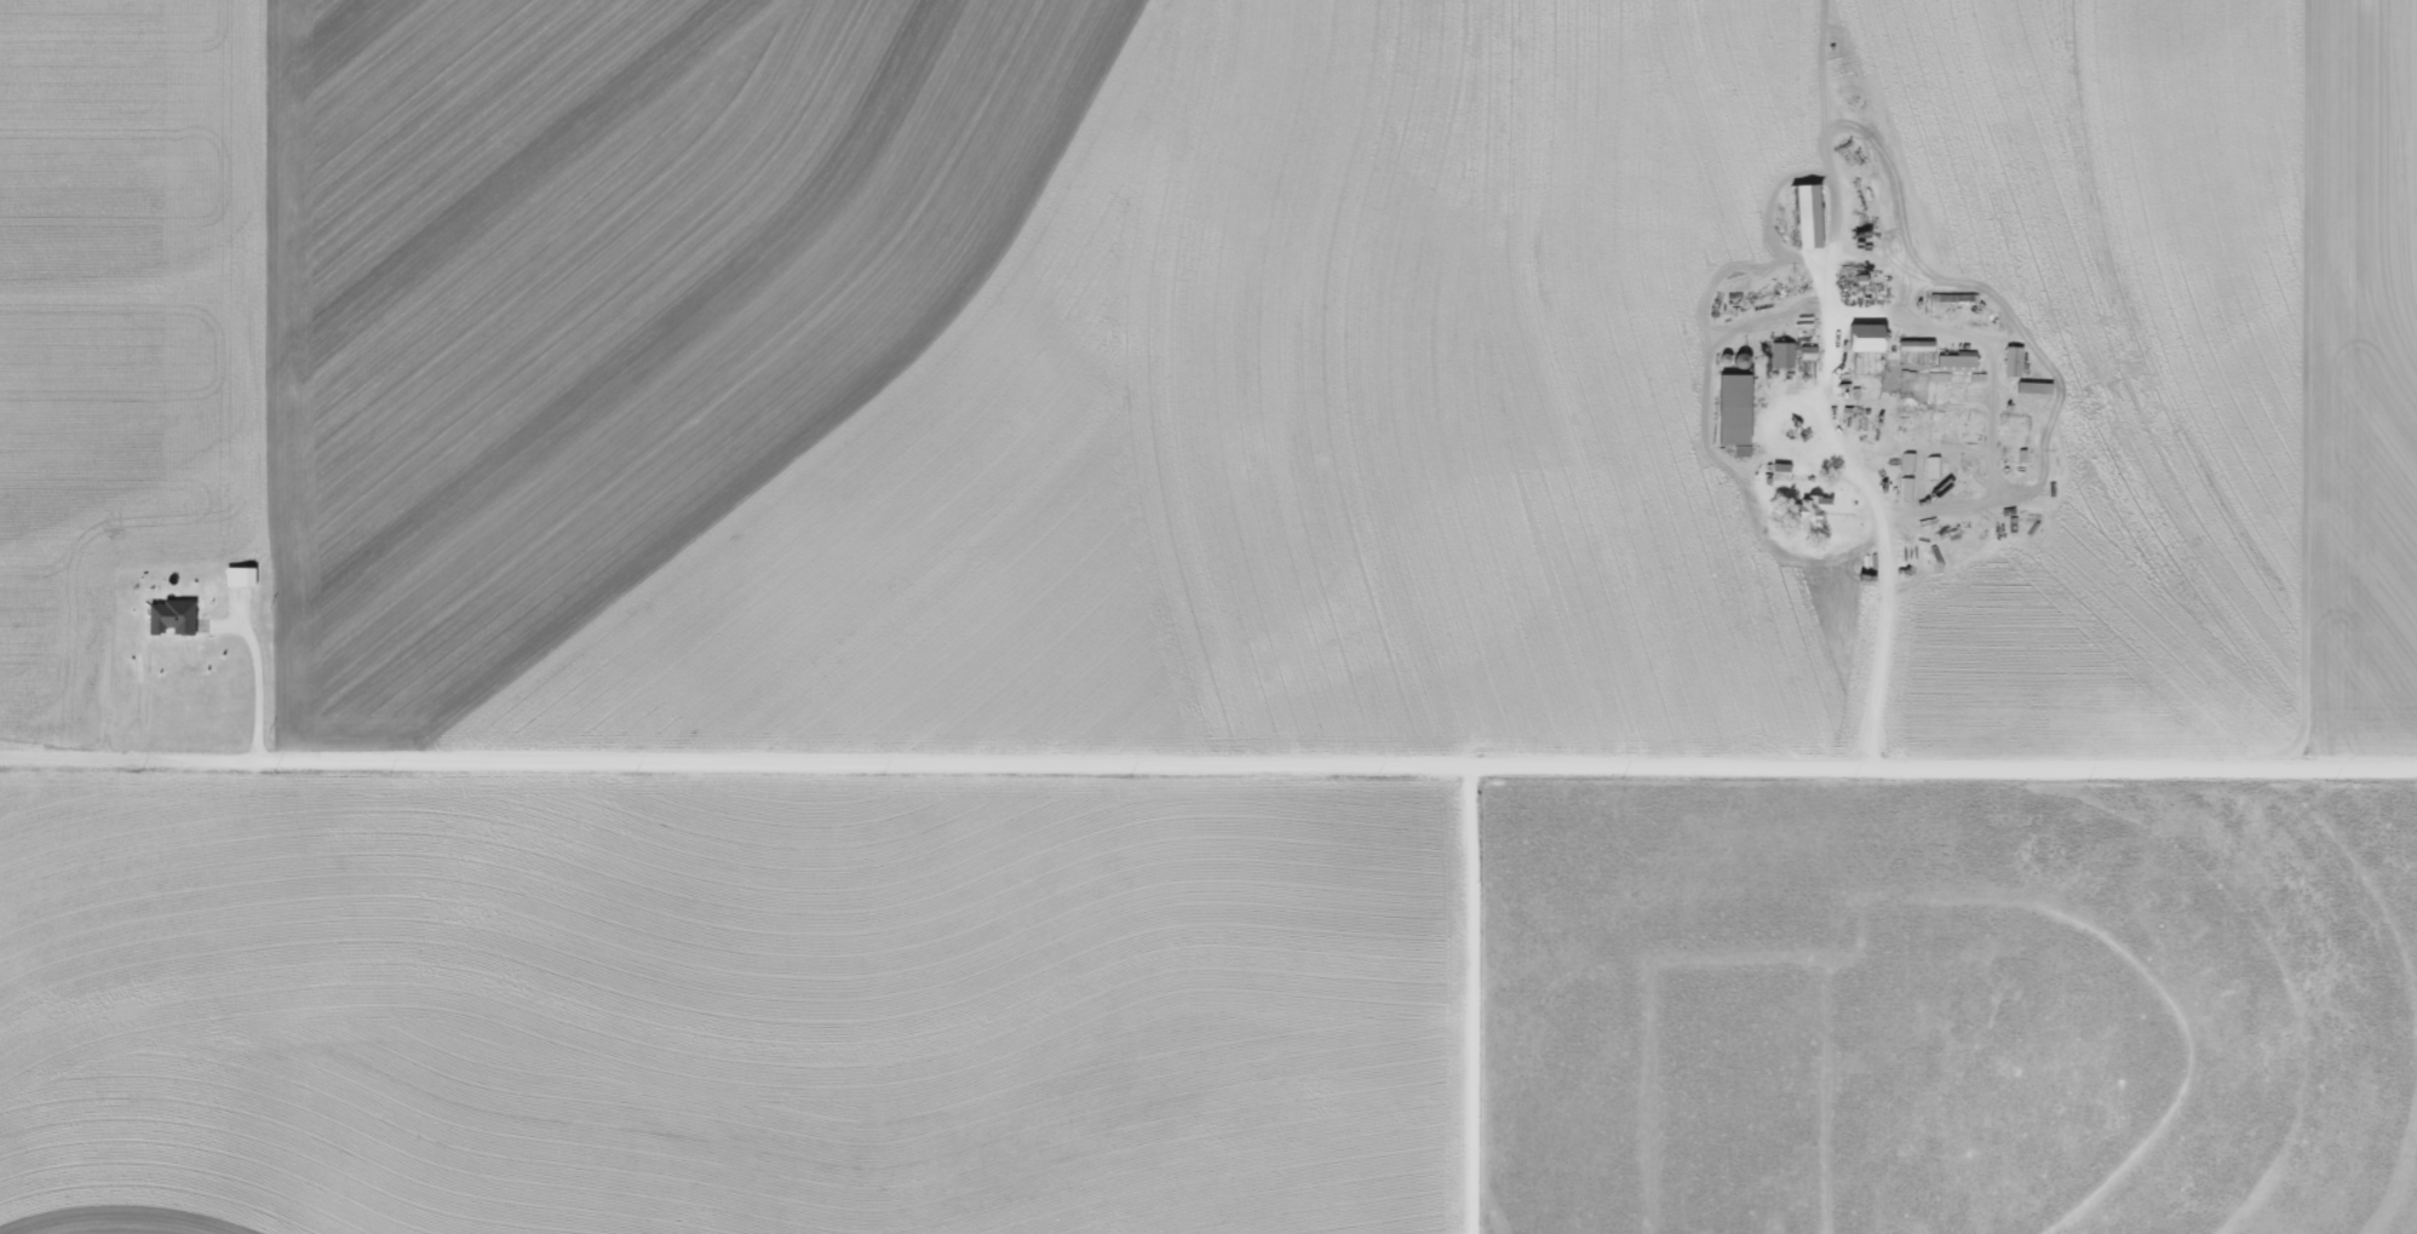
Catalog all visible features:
building: (1870, 337)
building: (1809, 351)
building: (1785, 355)
building: (2016, 361)
building: (1959, 362)
road: (1850, 384)
building: (1739, 413)
building: (1784, 473)
building: (1816, 511)
building: (243, 575)
building: (176, 615)
road: (1208, 757)
road: (1504, 997)

